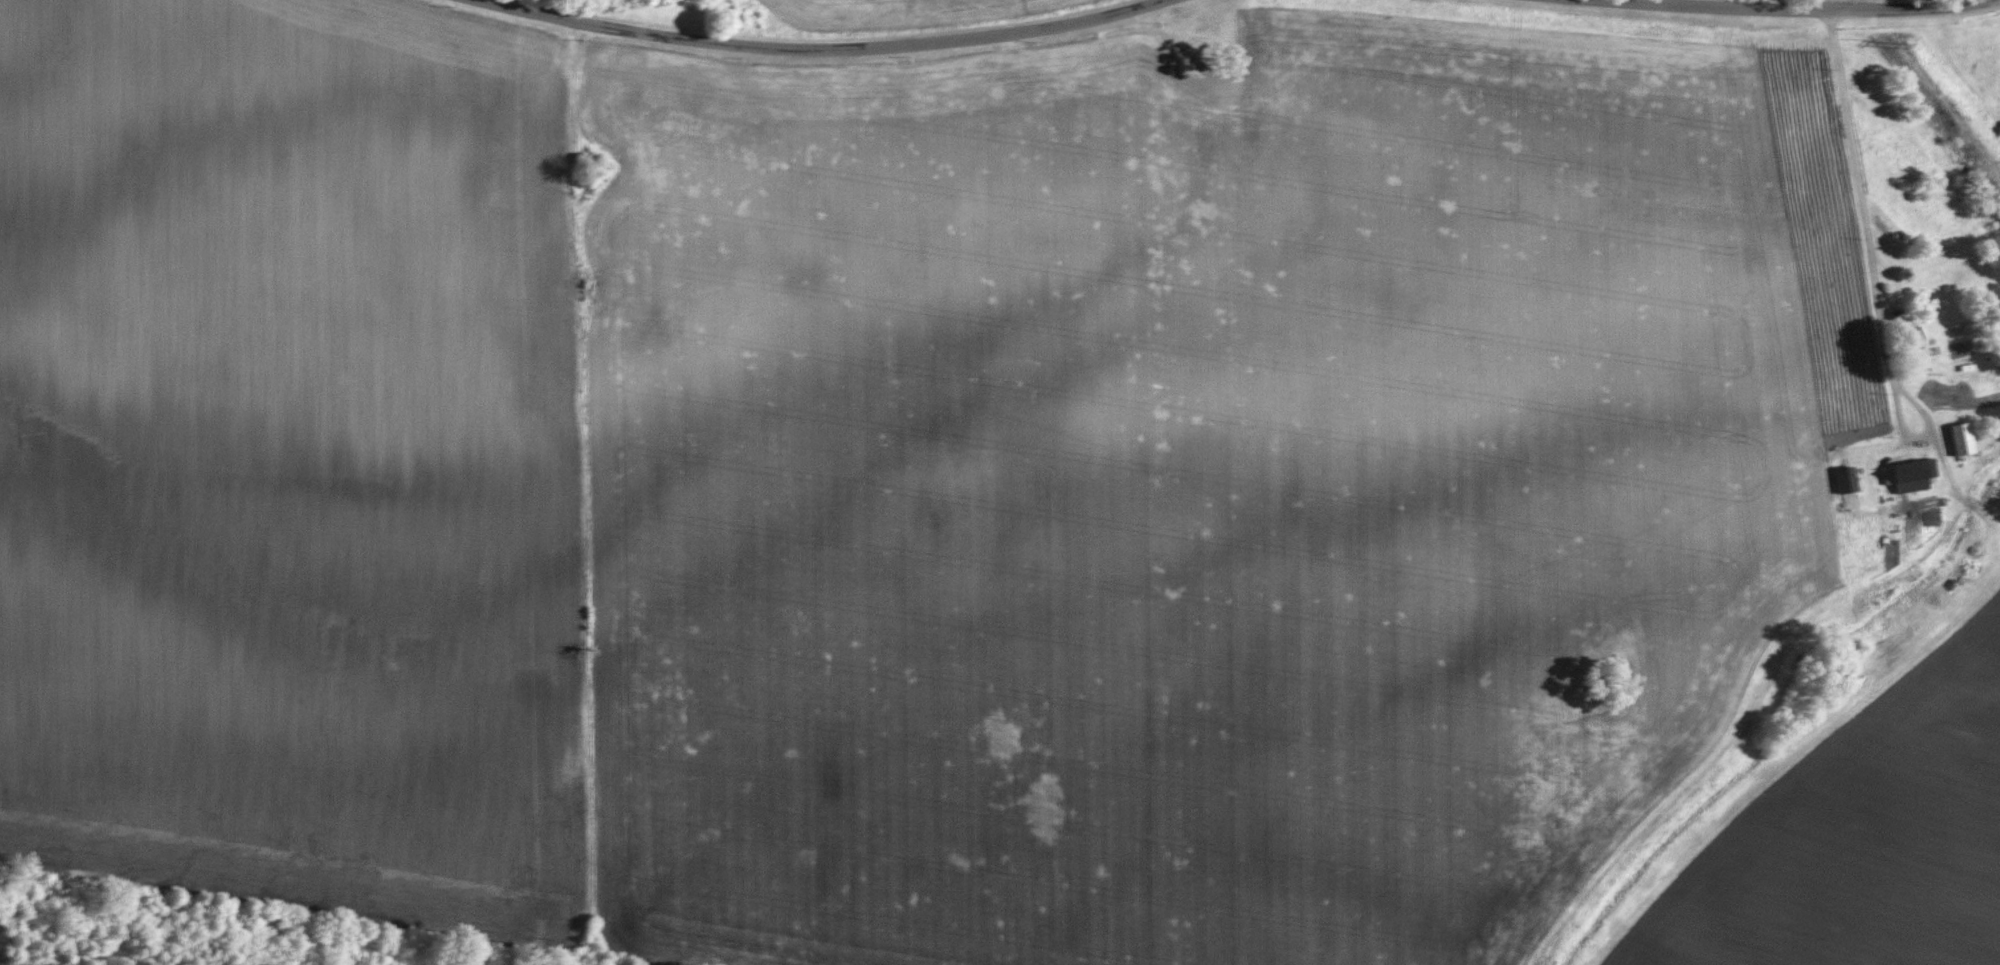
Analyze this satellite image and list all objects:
road: (1795, 2)
road: (829, 42)
road: (1853, 189)
building: (1908, 338)
road: (1908, 392)
building: (1956, 439)
building: (1905, 475)
building: (1841, 480)

